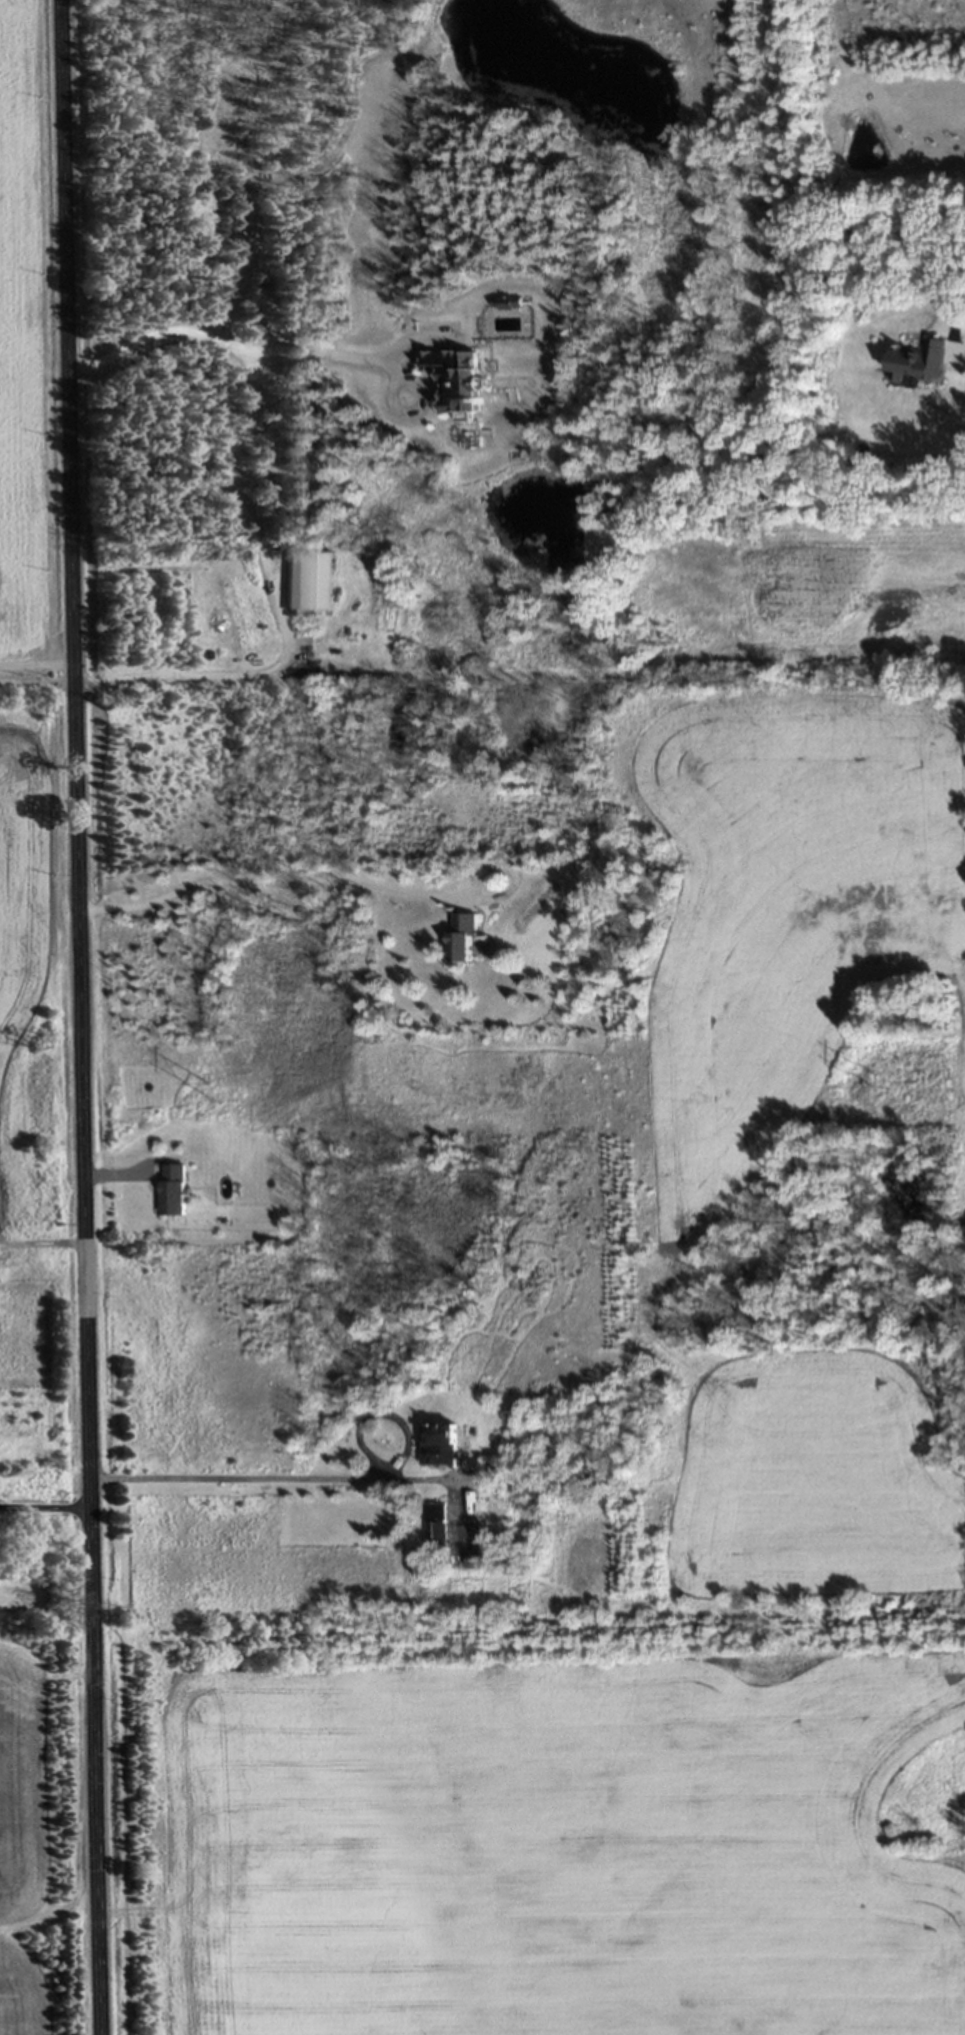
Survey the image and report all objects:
road: (961, 268)
road: (226, 343)
building: (918, 363)
building: (456, 379)
building: (308, 582)
road: (284, 611)
road: (33, 667)
road: (285, 886)
building: (461, 938)
road: (76, 1017)
power tower: (873, 1081)
power tower: (206, 1093)
building: (172, 1192)
building: (439, 1446)
road: (253, 1480)
road: (44, 1505)
building: (436, 1529)

